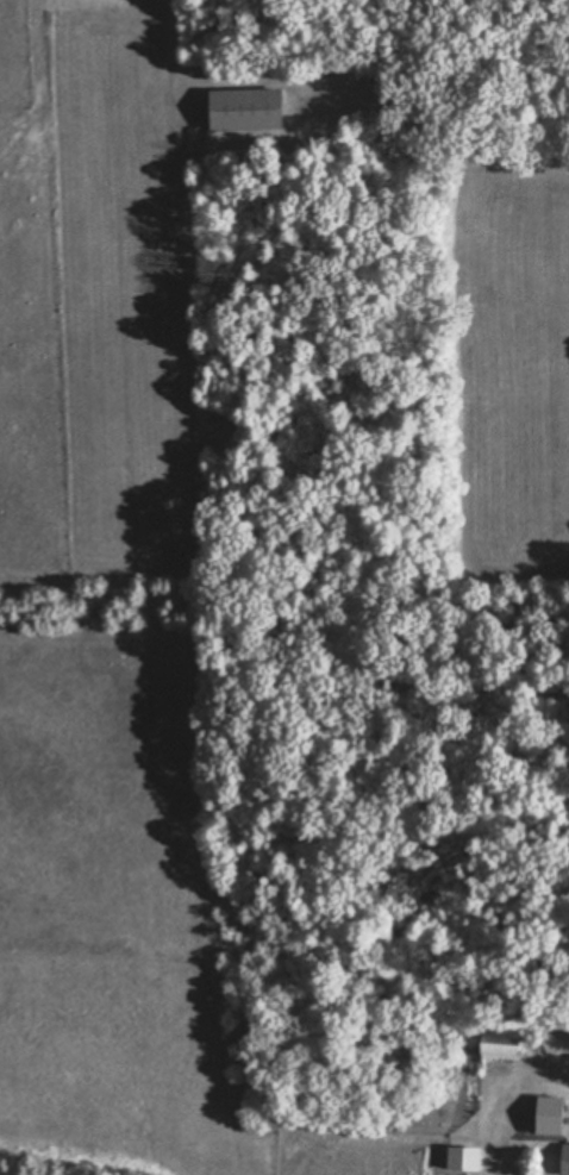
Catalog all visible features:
building: (240, 107)
road: (506, 1105)
building: (551, 1114)
building: (462, 1157)
building: (563, 1158)

